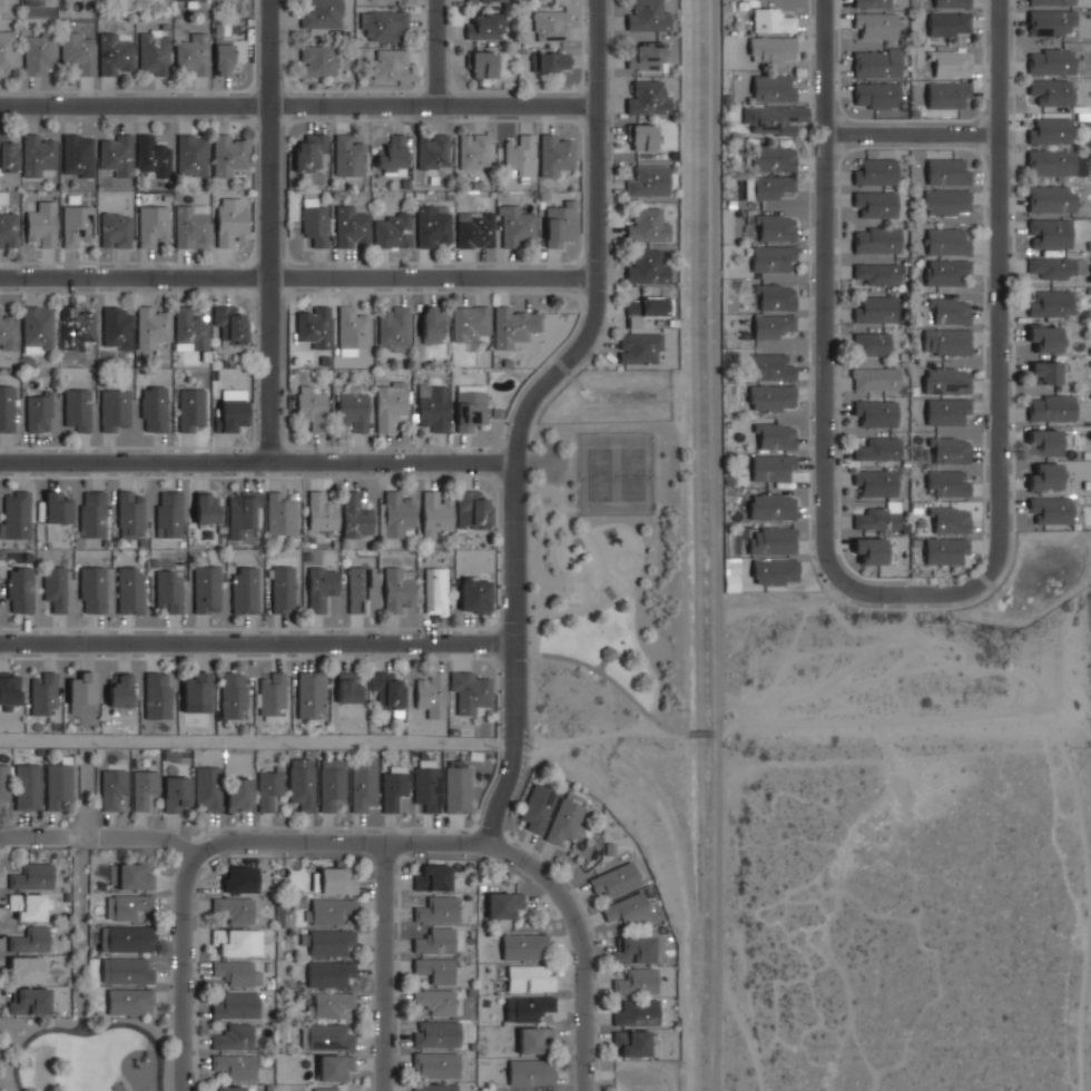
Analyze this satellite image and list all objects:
building: (188, 0)
building: (485, 0)
building: (39, 2)
building: (125, 2)
building: (1051, 2)
building: (872, 3)
building: (949, 3)
building: (322, 13)
building: (646, 17)
building: (771, 20)
building: (383, 22)
building: (1049, 22)
building: (949, 23)
building: (485, 24)
building: (550, 24)
building: (876, 26)
building: (771, 49)
road: (435, 50)
road: (598, 50)
building: (7, 51)
building: (39, 51)
building: (79, 51)
building: (154, 52)
building: (194, 52)
building: (114, 53)
building: (645, 56)
building: (223, 58)
building: (317, 59)
building: (551, 60)
building: (390, 62)
building: (482, 62)
building: (876, 62)
building: (1050, 62)
building: (949, 63)
building: (771, 88)
building: (1051, 92)
building: (876, 95)
building: (946, 96)
building: (646, 99)
road: (298, 104)
building: (773, 119)
road: (913, 129)
building: (1050, 131)
building: (641, 137)
building: (473, 149)
building: (432, 150)
building: (38, 151)
building: (311, 151)
building: (392, 153)
building: (554, 153)
building: (78, 154)
building: (115, 154)
building: (191, 154)
building: (229, 154)
building: (348, 154)
building: (519, 154)
building: (8, 155)
building: (151, 157)
building: (771, 158)
building: (1050, 163)
building: (874, 170)
building: (946, 170)
building: (648, 183)
building: (767, 187)
building: (1050, 199)
building: (946, 202)
building: (875, 203)
building: (230, 219)
building: (560, 222)
building: (42, 223)
building: (76, 224)
building: (153, 224)
building: (191, 225)
building: (315, 225)
building: (515, 225)
building: (351, 226)
building: (432, 226)
building: (646, 226)
building: (774, 227)
building: (115, 228)
road: (274, 228)
building: (475, 228)
building: (9, 229)
building: (393, 229)
building: (1049, 233)
building: (876, 237)
building: (947, 239)
road: (825, 257)
building: (770, 258)
road: (1001, 258)
building: (646, 267)
building: (1054, 267)
building: (944, 269)
road: (298, 272)
building: (876, 273)
building: (774, 297)
building: (1050, 304)
building: (874, 307)
building: (949, 308)
building: (643, 309)
building: (229, 322)
building: (471, 323)
building: (431, 324)
building: (513, 324)
building: (313, 325)
building: (117, 326)
building: (154, 326)
building: (770, 326)
building: (37, 327)
building: (76, 327)
building: (189, 328)
building: (352, 328)
building: (393, 328)
building: (8, 333)
building: (1044, 338)
building: (945, 341)
building: (871, 343)
building: (638, 347)
road: (551, 367)
building: (770, 367)
building: (1045, 372)
building: (875, 377)
building: (946, 380)
building: (770, 397)
building: (390, 404)
building: (433, 405)
building: (311, 406)
building: (6, 409)
building: (153, 409)
building: (230, 409)
building: (353, 409)
building: (1051, 409)
building: (114, 410)
building: (190, 410)
building: (470, 410)
building: (947, 410)
building: (77, 411)
building: (876, 411)
building: (38, 413)
building: (775, 436)
building: (1044, 442)
building: (878, 448)
building: (949, 449)
road: (257, 458)
parking lot: (550, 460)
road: (538, 461)
building: (770, 468)
park: (616, 473)
building: (1044, 476)
building: (875, 481)
building: (947, 482)
building: (770, 507)
building: (56, 508)
building: (474, 508)
building: (205, 509)
road: (560, 509)
building: (1049, 510)
building: (321, 512)
building: (92, 513)
building: (397, 513)
building: (435, 513)
building: (168, 514)
building: (242, 514)
building: (355, 514)
building: (14, 515)
building: (129, 515)
building: (281, 515)
building: (876, 518)
building: (950, 519)
road: (609, 523)
building: (771, 541)
road: (538, 543)
road: (717, 544)
building: (871, 549)
building: (945, 550)
road: (563, 568)
building: (774, 571)
park: (606, 581)
building: (55, 587)
building: (321, 587)
building: (206, 588)
building: (282, 588)
building: (358, 588)
building: (397, 588)
building: (92, 589)
building: (130, 589)
building: (244, 589)
building: (19, 590)
building: (168, 590)
building: (435, 590)
road: (629, 590)
road: (912, 591)
building: (474, 594)
road: (257, 640)
road: (628, 651)
building: (608, 653)
road: (601, 664)
road: (608, 676)
building: (347, 688)
building: (386, 688)
building: (81, 689)
building: (9, 690)
building: (119, 690)
building: (471, 690)
building: (195, 692)
building: (272, 692)
building: (43, 694)
building: (309, 694)
building: (432, 694)
building: (156, 695)
building: (233, 695)
road: (699, 731)
road: (715, 733)
road: (254, 741)
road: (508, 745)
building: (4, 780)
building: (426, 784)
building: (58, 785)
building: (364, 785)
building: (27, 786)
building: (144, 786)
building: (112, 787)
building: (267, 787)
building: (302, 787)
building: (331, 787)
building: (208, 788)
building: (394, 788)
building: (458, 788)
building: (176, 793)
building: (239, 794)
building: (537, 807)
building: (563, 820)
road: (33, 835)
road: (303, 843)
building: (31, 876)
building: (129, 876)
building: (239, 878)
building: (432, 878)
building: (336, 879)
building: (615, 881)
building: (504, 904)
building: (129, 905)
building: (29, 906)
building: (233, 908)
building: (327, 908)
building: (436, 908)
building: (626, 908)
road: (82, 937)
building: (127, 937)
building: (31, 940)
building: (327, 940)
building: (436, 940)
building: (237, 941)
road: (580, 943)
building: (522, 944)
building: (633, 950)
road: (384, 966)
road: (183, 967)
building: (434, 969)
building: (24, 970)
building: (127, 970)
building: (328, 971)
building: (236, 972)
building: (530, 976)
building: (635, 982)
building: (29, 1000)
building: (128, 1001)
building: (435, 1001)
building: (330, 1003)
building: (236, 1005)
building: (527, 1006)
building: (636, 1013)
road: (90, 1030)
building: (435, 1034)
building: (233, 1036)
building: (326, 1036)
building: (535, 1040)
building: (631, 1042)
park: (86, 1053)
building: (235, 1065)
building: (435, 1065)
building: (334, 1067)
building: (531, 1072)
building: (327, 1088)
building: (434, 1088)
building: (227, 1089)
building: (530, 1090)

